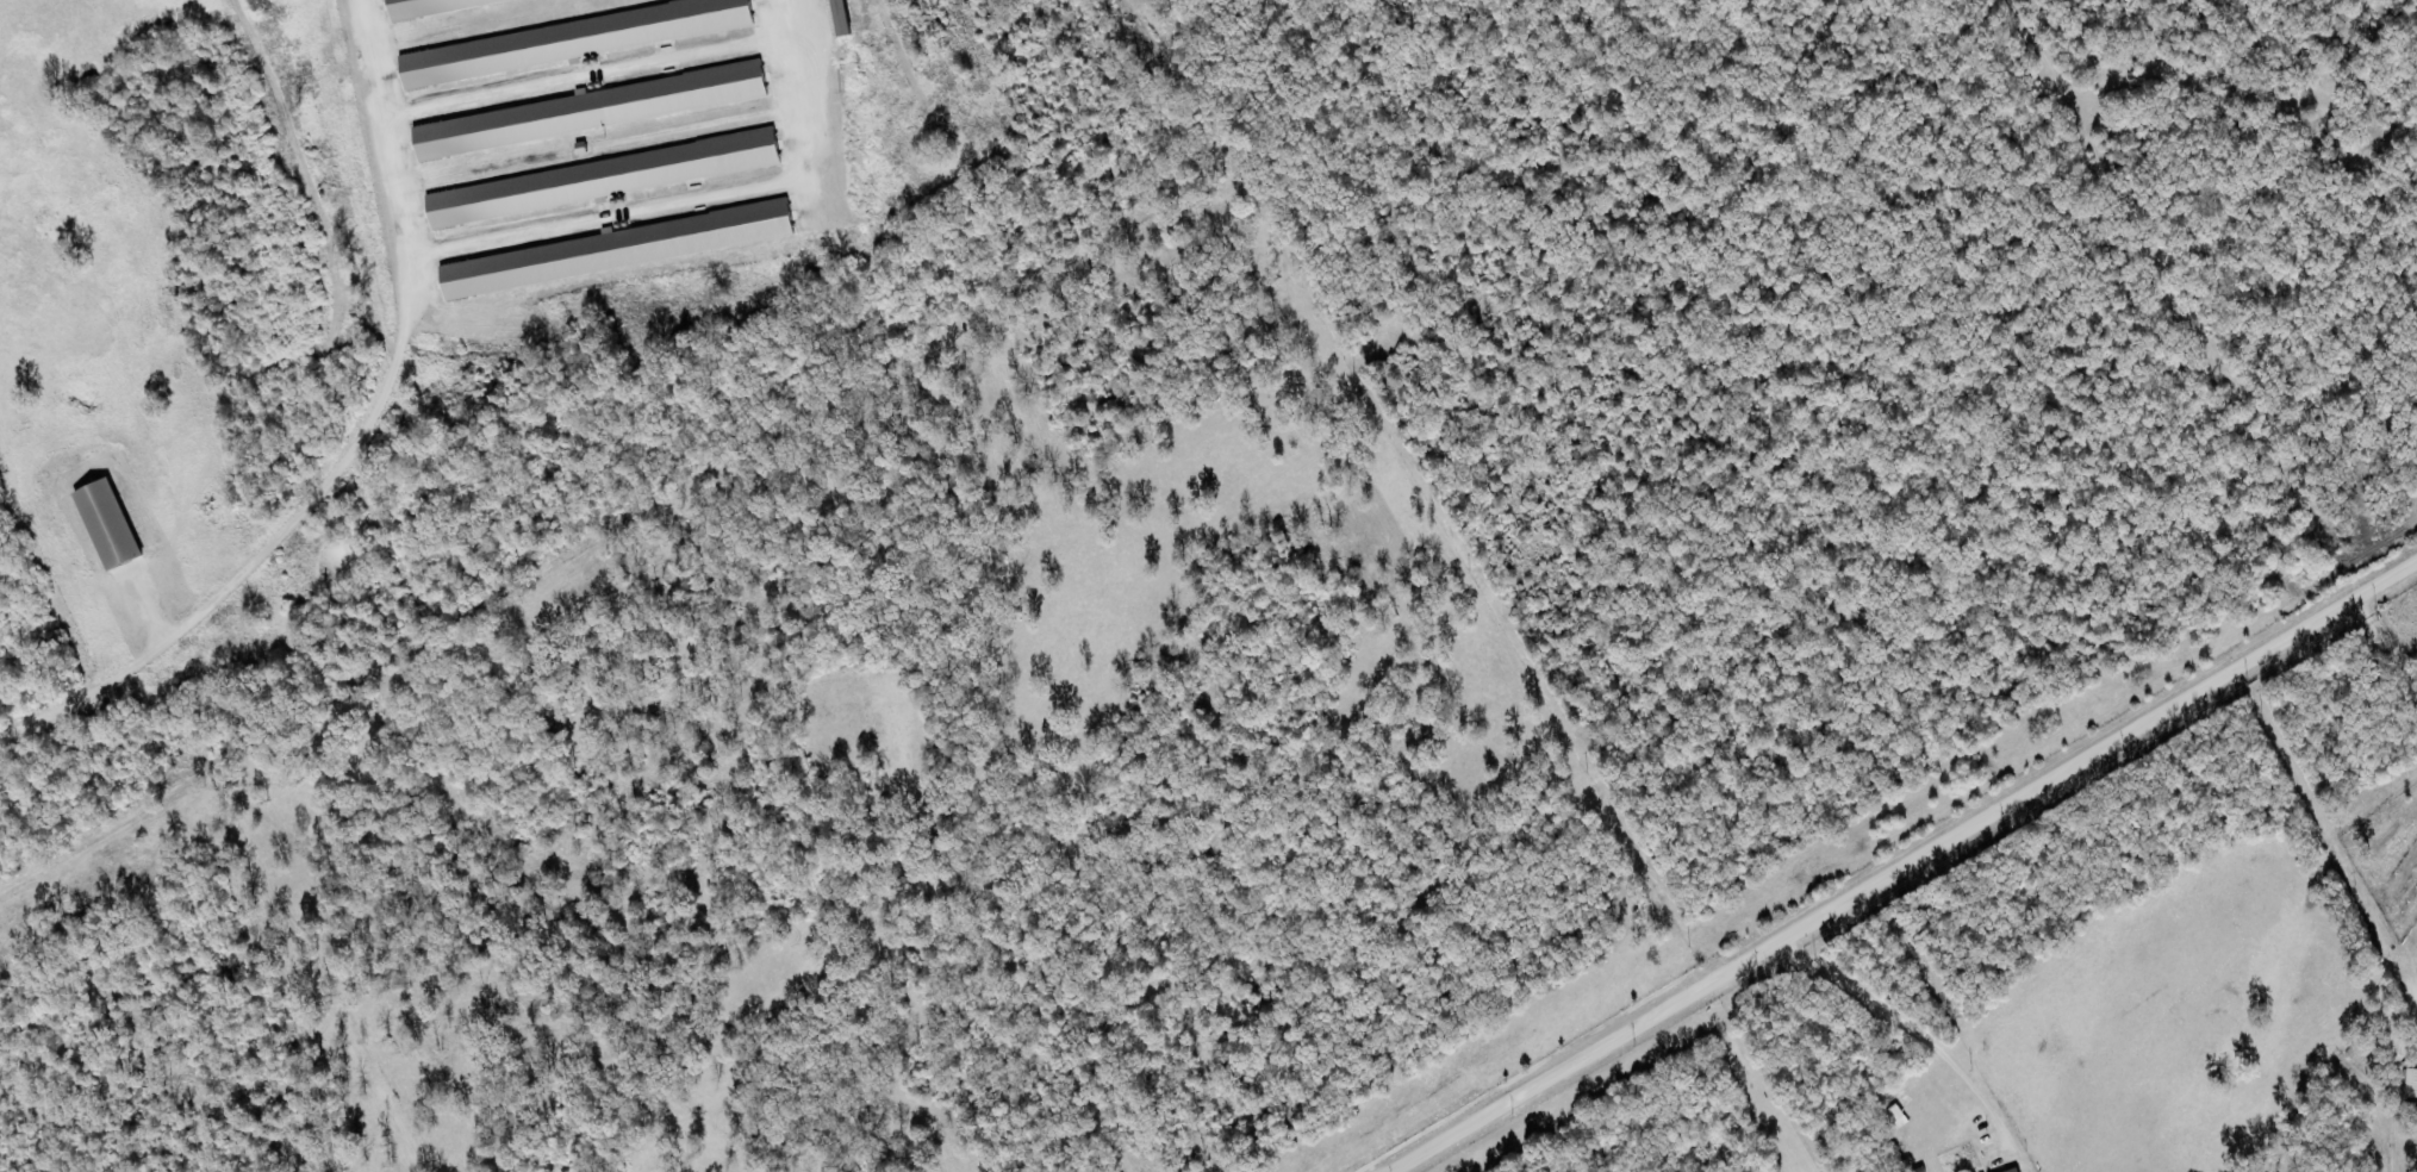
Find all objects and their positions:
building: (429, 5)
building: (841, 18)
building: (577, 39)
building: (598, 110)
building: (604, 179)
building: (627, 249)
building: (110, 524)
road: (1907, 868)
building: (2411, 1083)
building: (2017, 1170)

